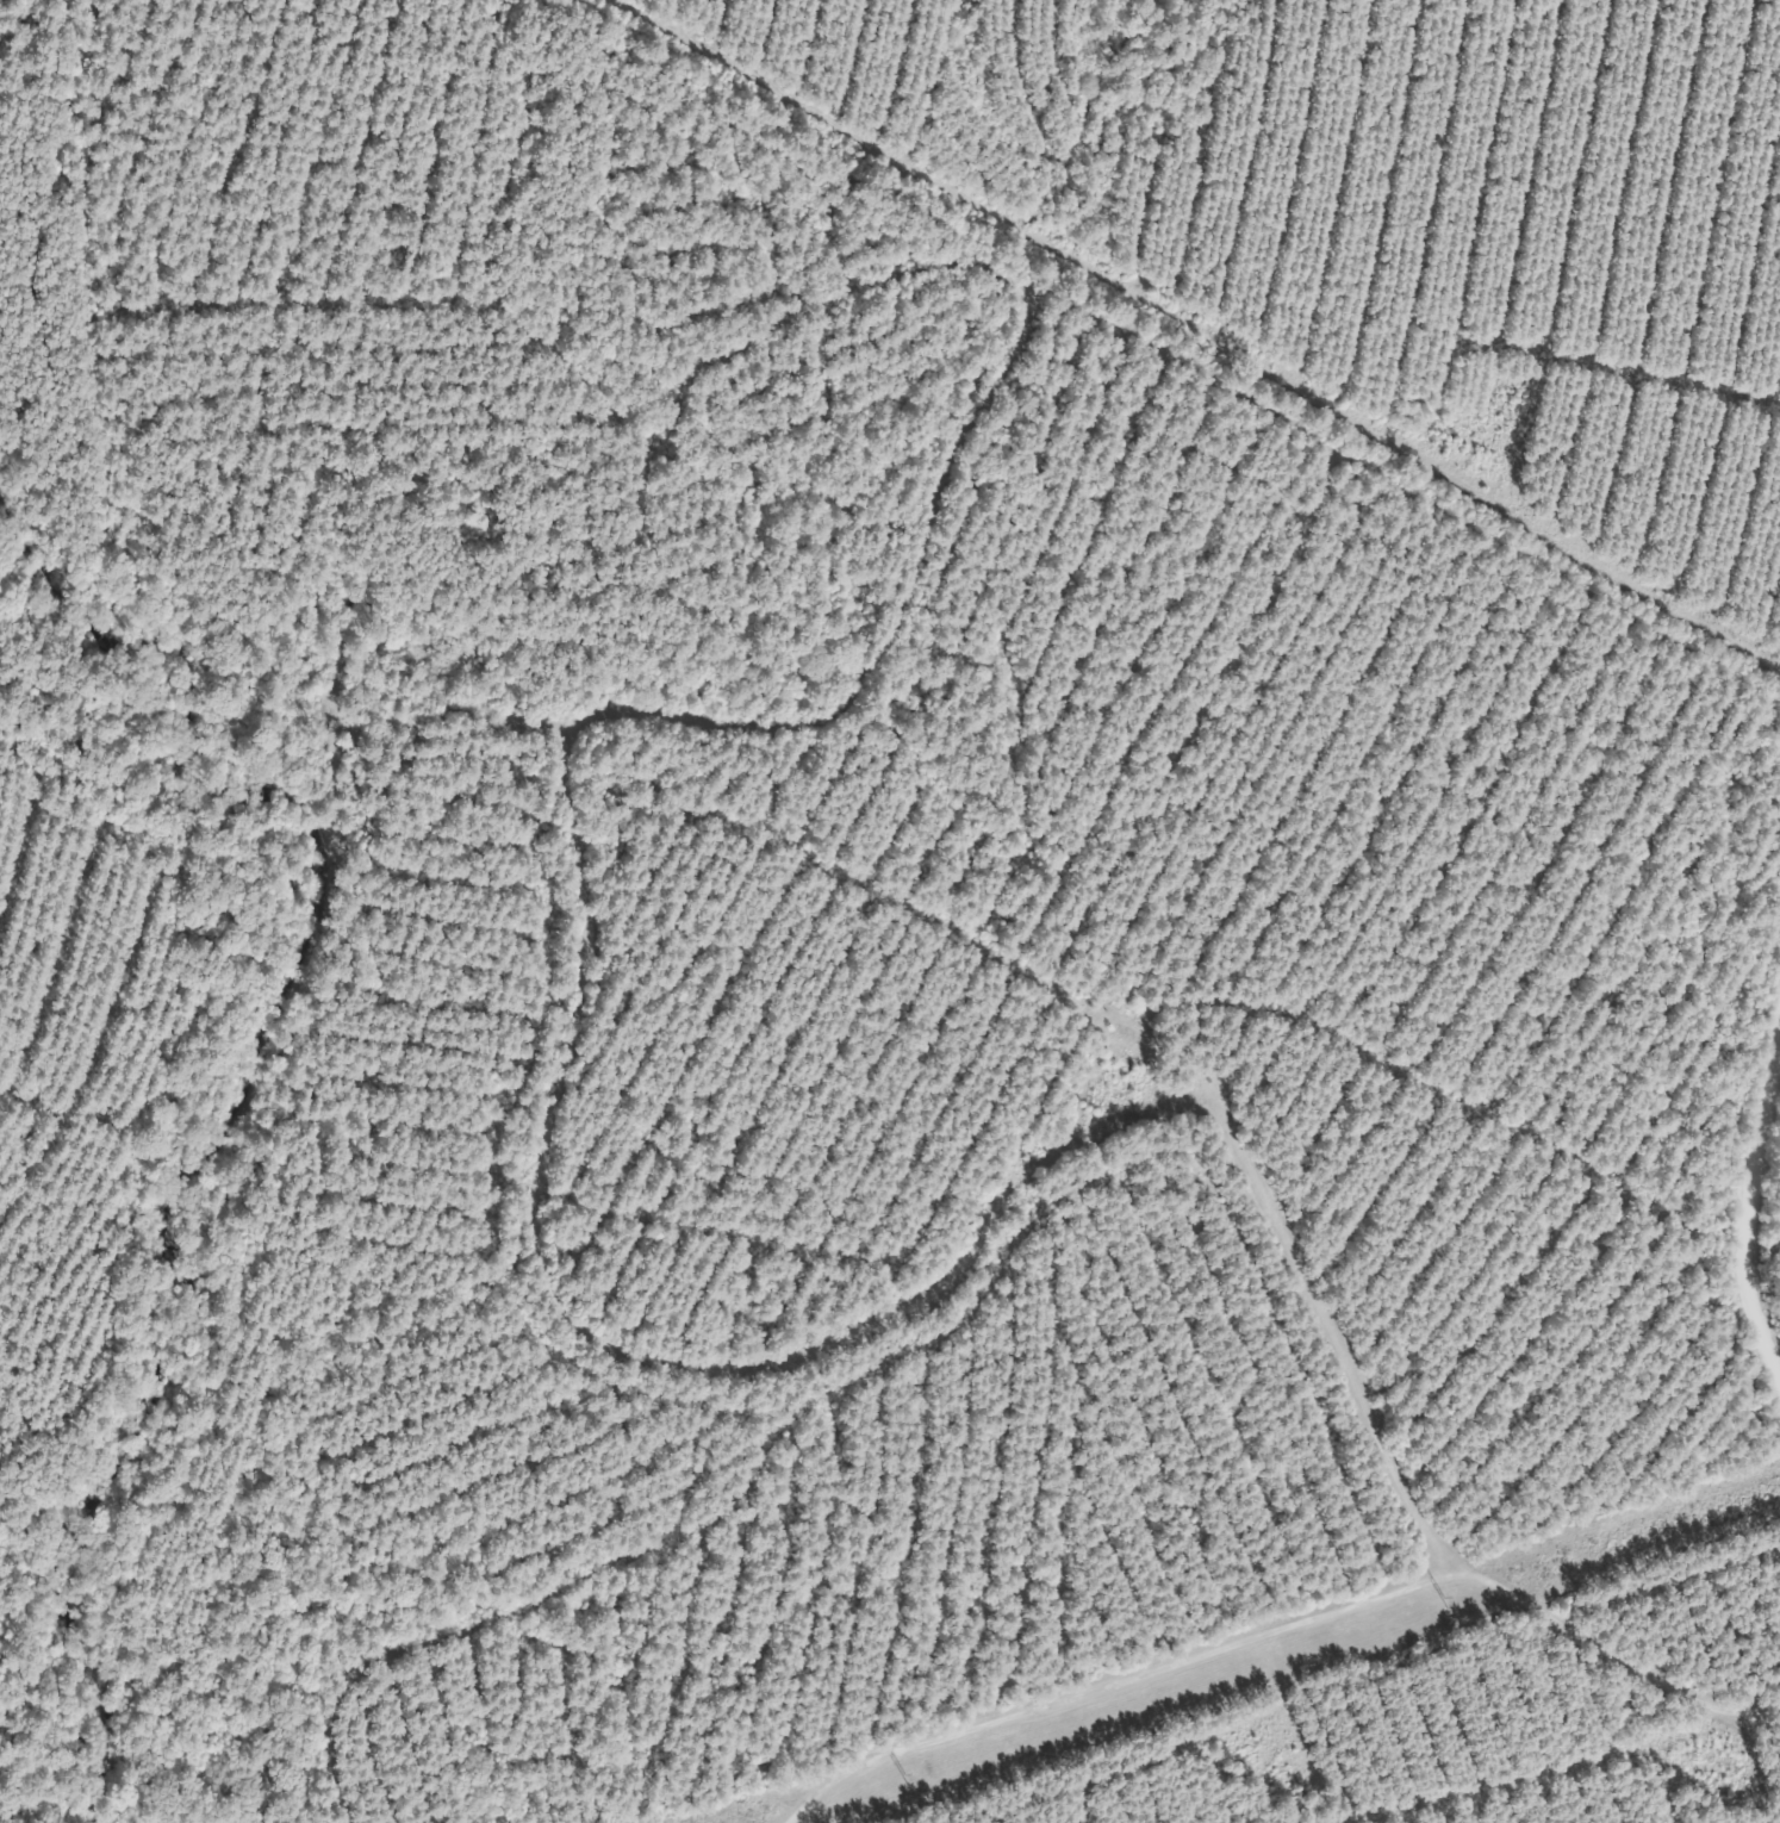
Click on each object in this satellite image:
road: (1759, 1222)
power tower: (1440, 1604)
power tower: (903, 1780)
road: (1765, 1812)

